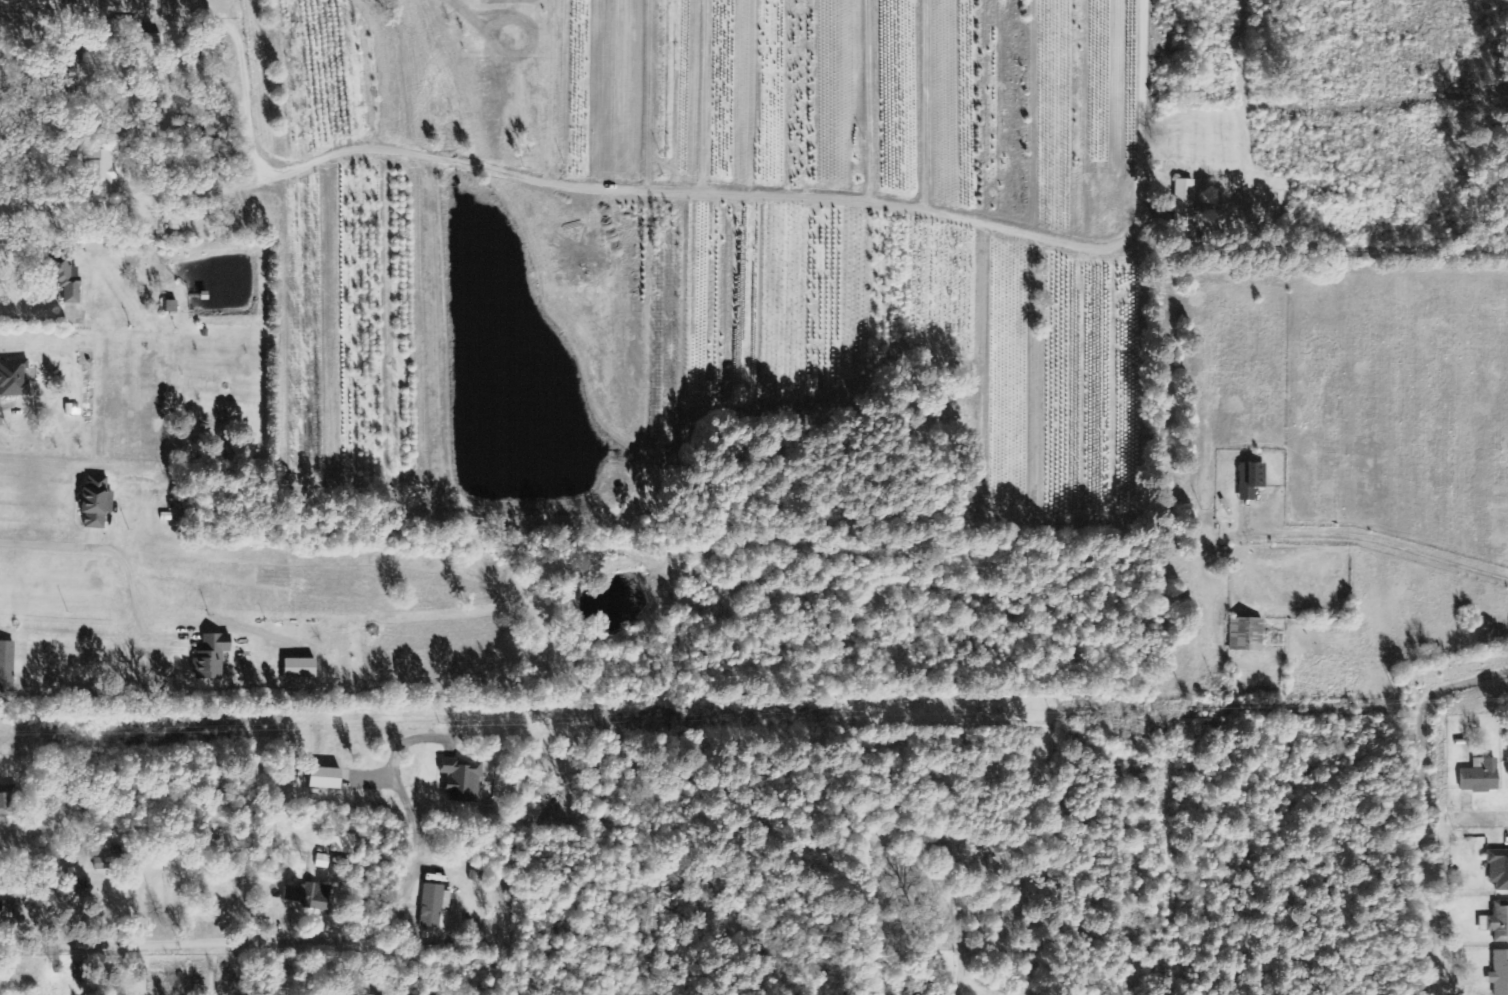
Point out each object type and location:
building: (144, 52)
building: (101, 175)
building: (1184, 206)
building: (65, 278)
building: (170, 307)
building: (14, 378)
building: (1251, 481)
building: (96, 504)
building: (1246, 634)
building: (211, 657)
building: (6, 667)
building: (1481, 777)
building: (325, 778)
building: (463, 780)
building: (5, 805)
road: (1483, 819)
road: (289, 830)
building: (341, 845)
building: (322, 861)
building: (1498, 869)
building: (310, 896)
building: (434, 905)
building: (1497, 922)
building: (79, 973)
building: (1500, 973)

